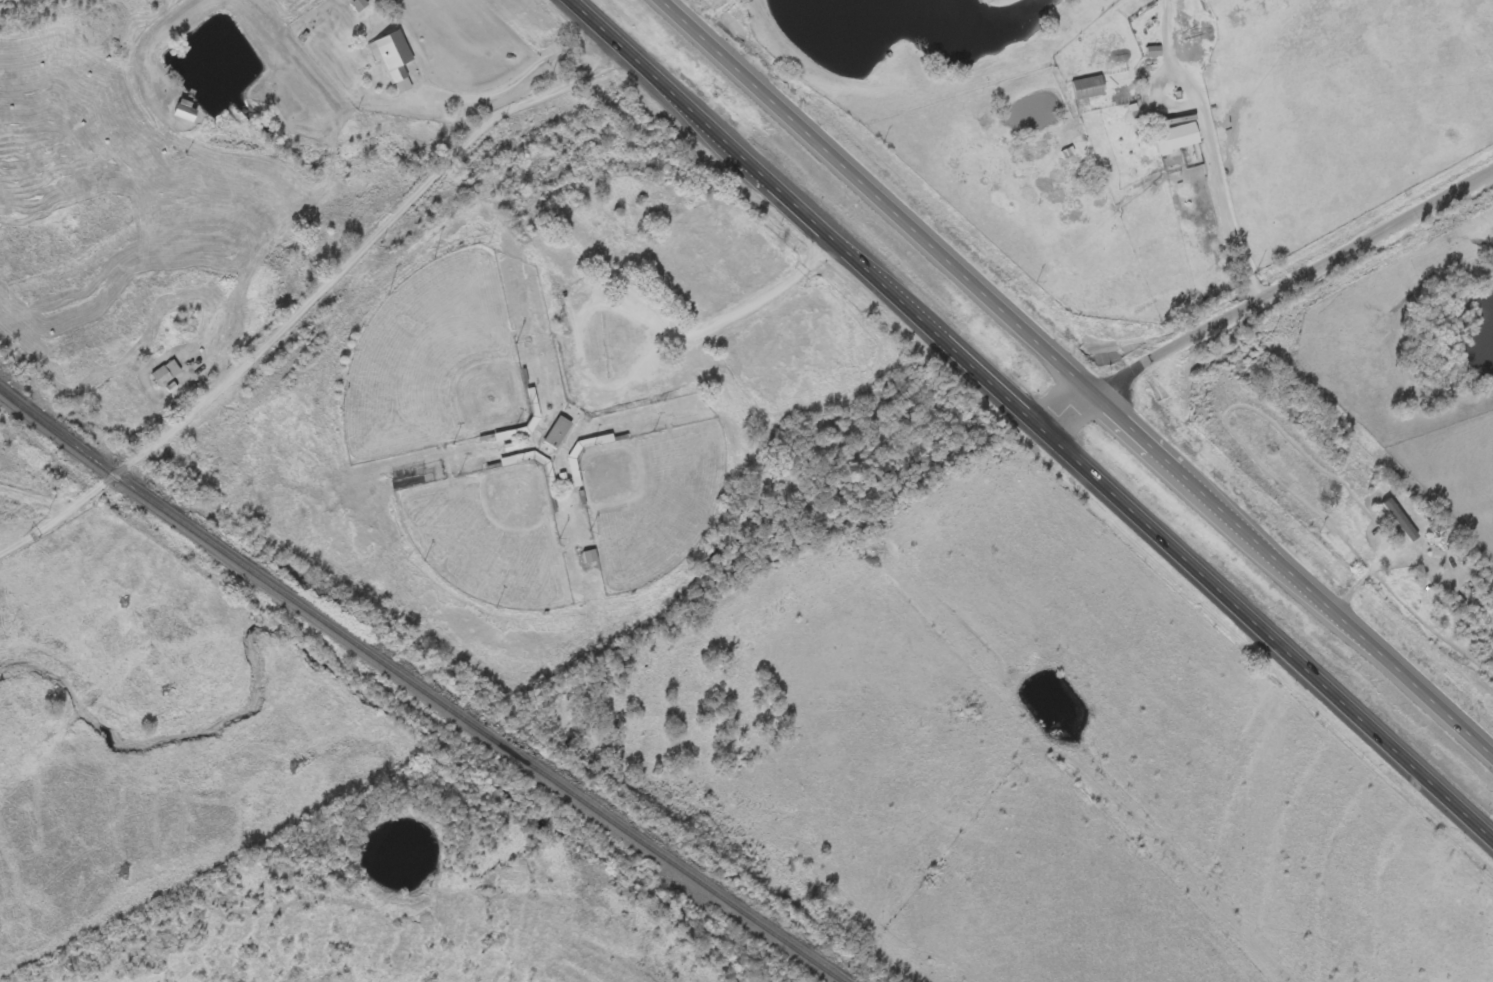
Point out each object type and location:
building: (360, 5)
building: (1184, 49)
building: (1154, 53)
building: (394, 60)
road: (520, 84)
building: (1089, 89)
building: (185, 112)
road: (1216, 147)
road: (1265, 297)
building: (166, 374)
road: (1070, 379)
road: (1032, 420)
building: (557, 433)
building: (1401, 521)
railway: (415, 692)

